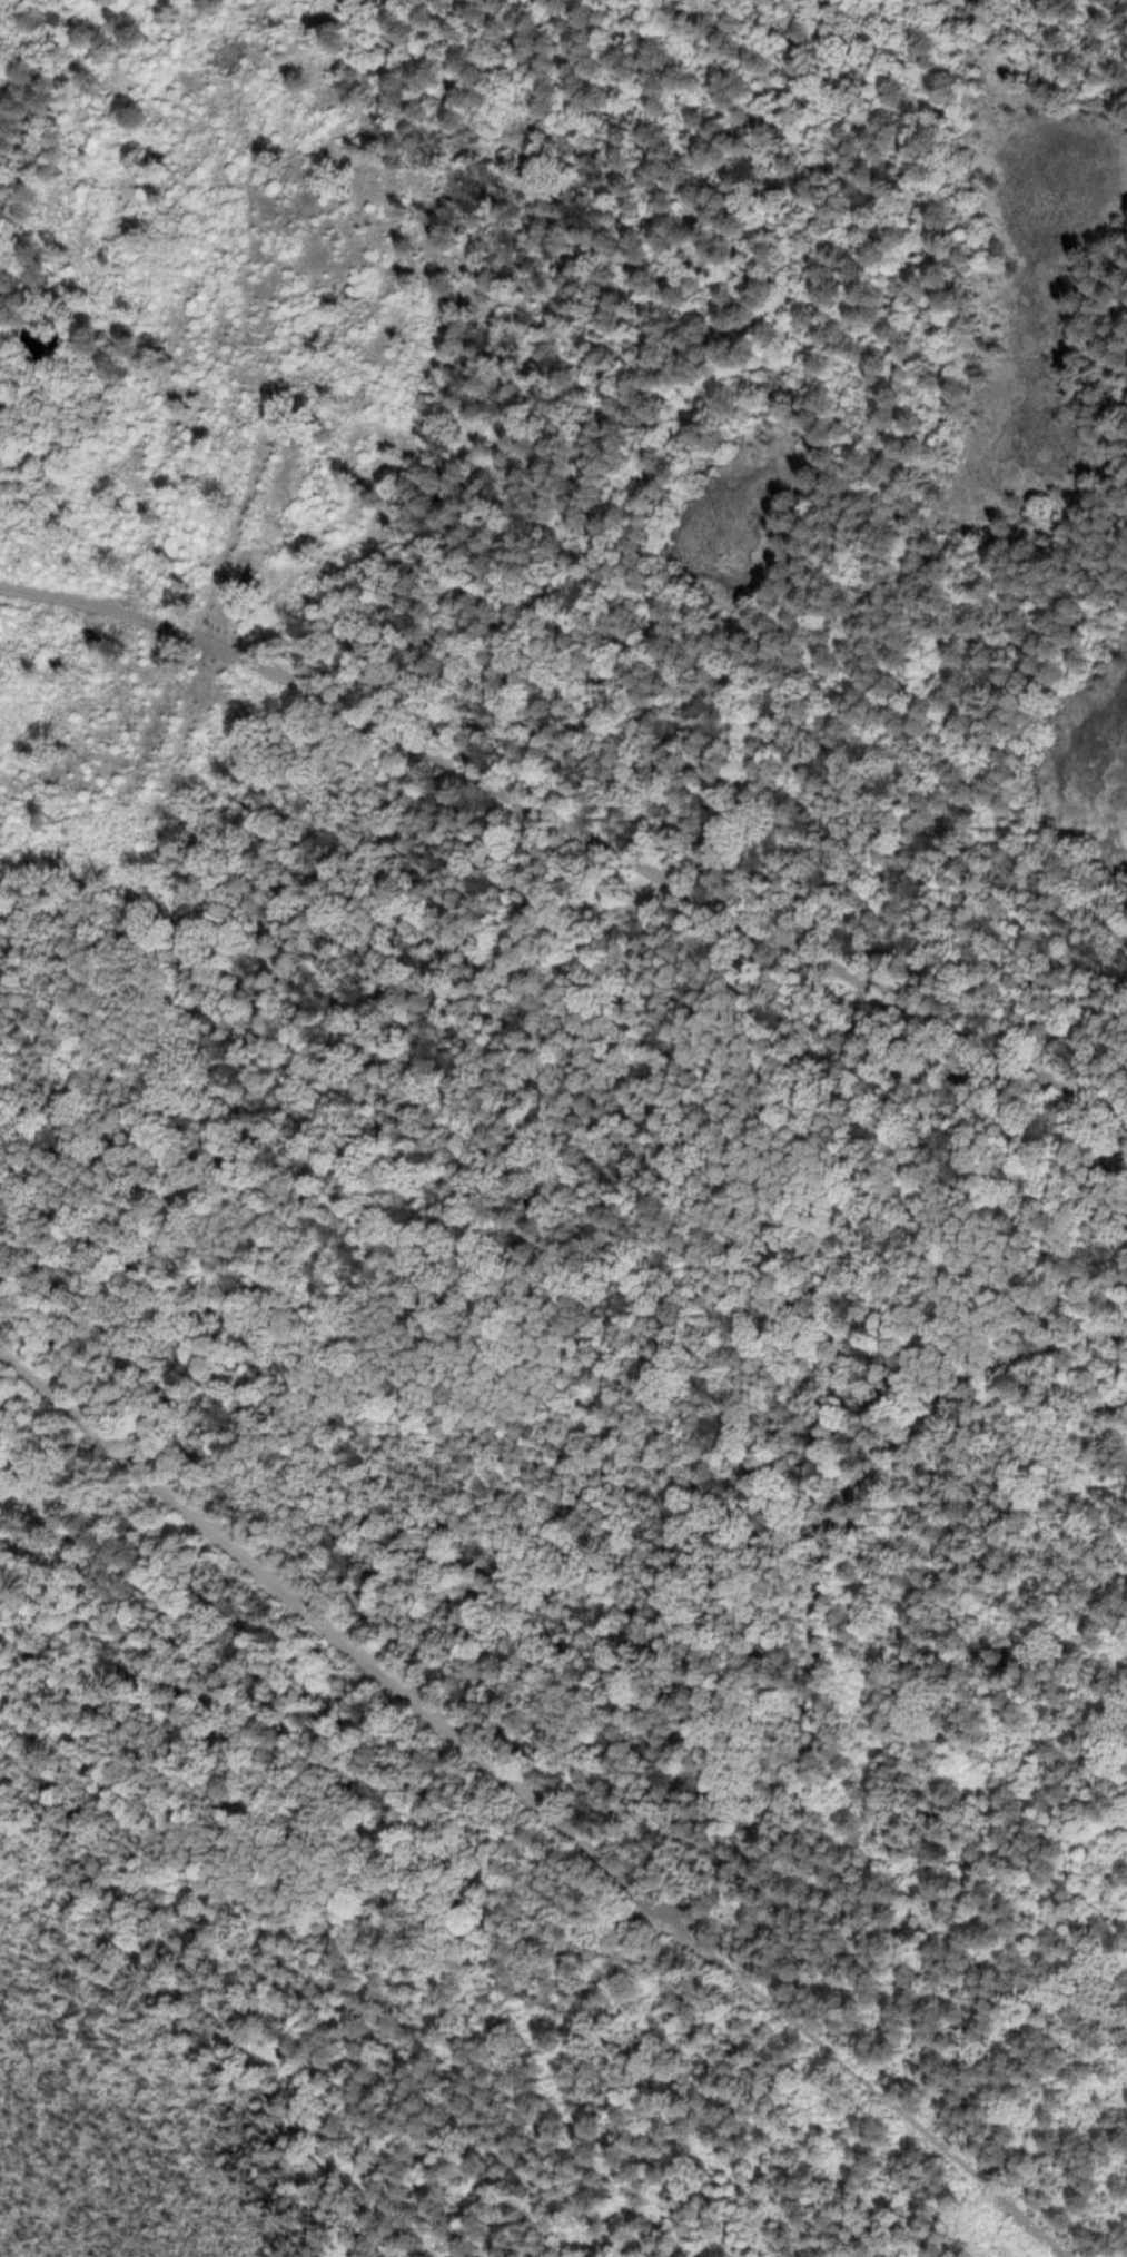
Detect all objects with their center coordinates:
road: (572, 830)
road: (829, 1551)
road: (537, 1801)

